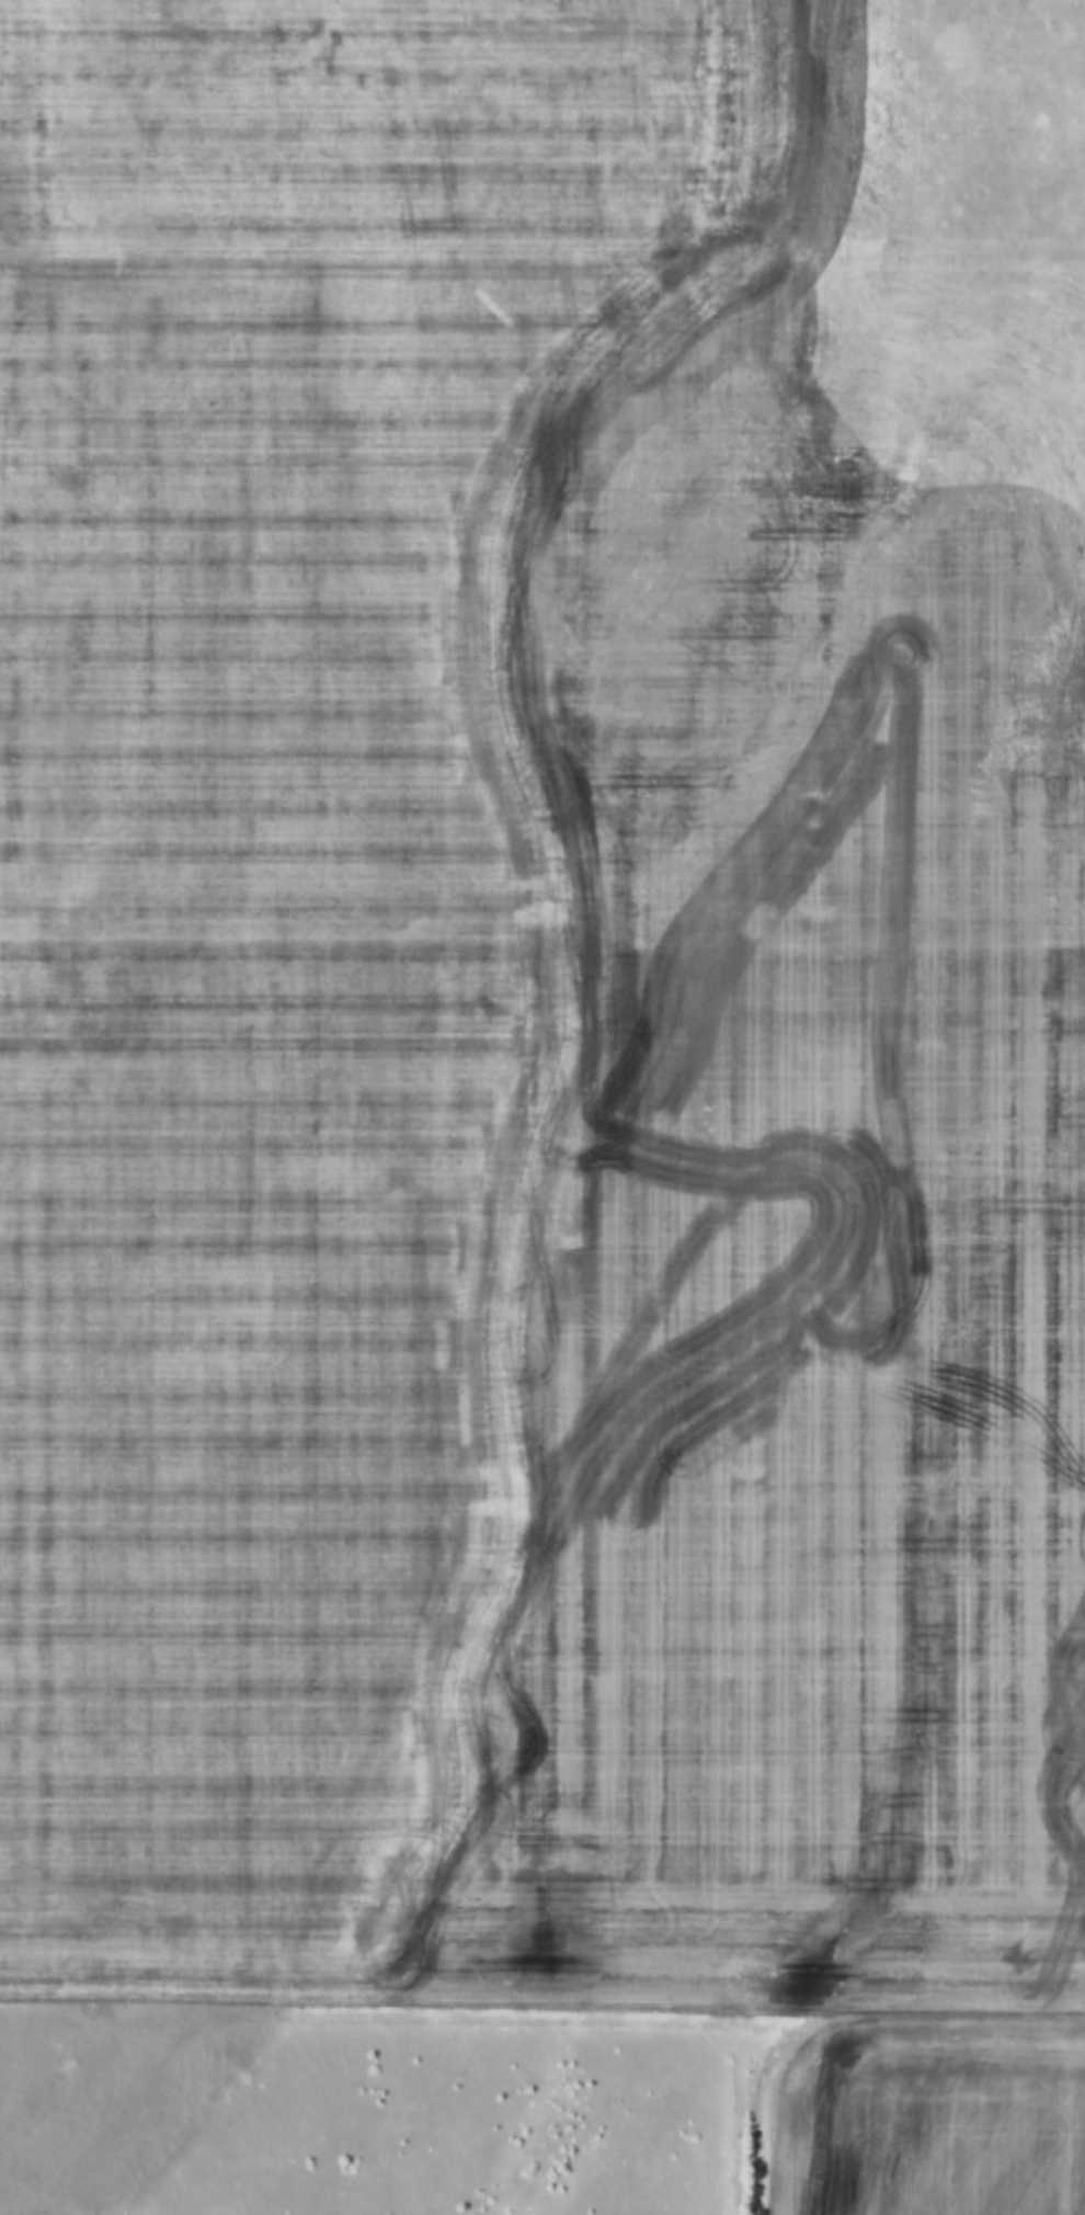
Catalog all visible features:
road: (541, 2014)

